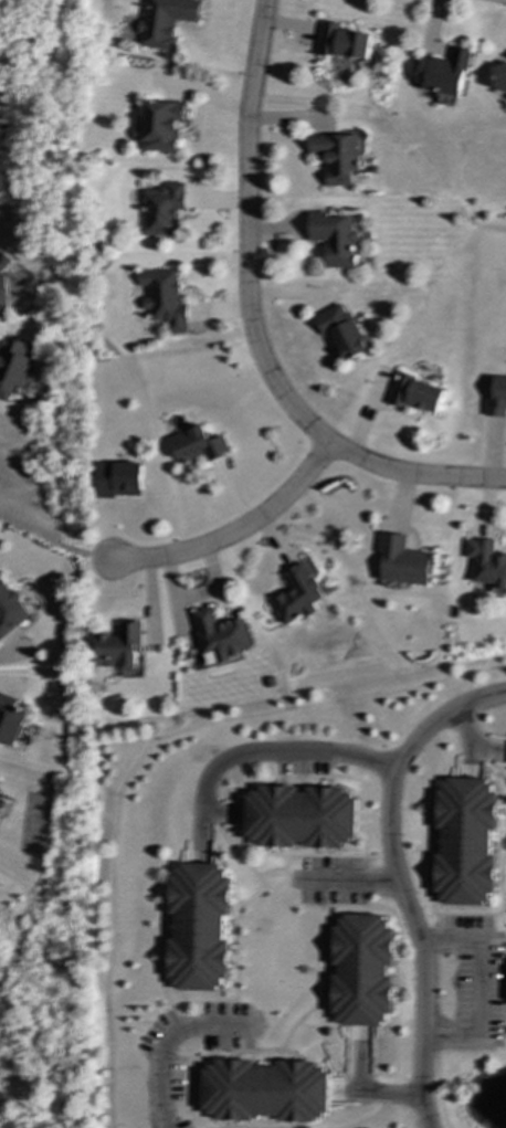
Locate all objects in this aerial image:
building: (165, 21)
building: (341, 42)
building: (442, 73)
building: (500, 77)
building: (157, 126)
building: (335, 157)
building: (158, 209)
building: (333, 239)
building: (3, 280)
building: (162, 298)
road: (251, 327)
building: (341, 333)
building: (13, 365)
building: (414, 393)
building: (495, 397)
building: (196, 445)
building: (118, 479)
road: (236, 533)
road: (54, 545)
building: (402, 561)
building: (486, 563)
building: (296, 595)
building: (10, 609)
building: (219, 636)
building: (120, 649)
road: (13, 654)
building: (11, 719)
road: (471, 744)
road: (331, 750)
building: (299, 816)
building: (464, 842)
road: (352, 879)
building: (197, 927)
road: (417, 941)
building: (361, 970)
road: (481, 985)
road: (165, 1041)
road: (361, 1089)
building: (264, 1090)

